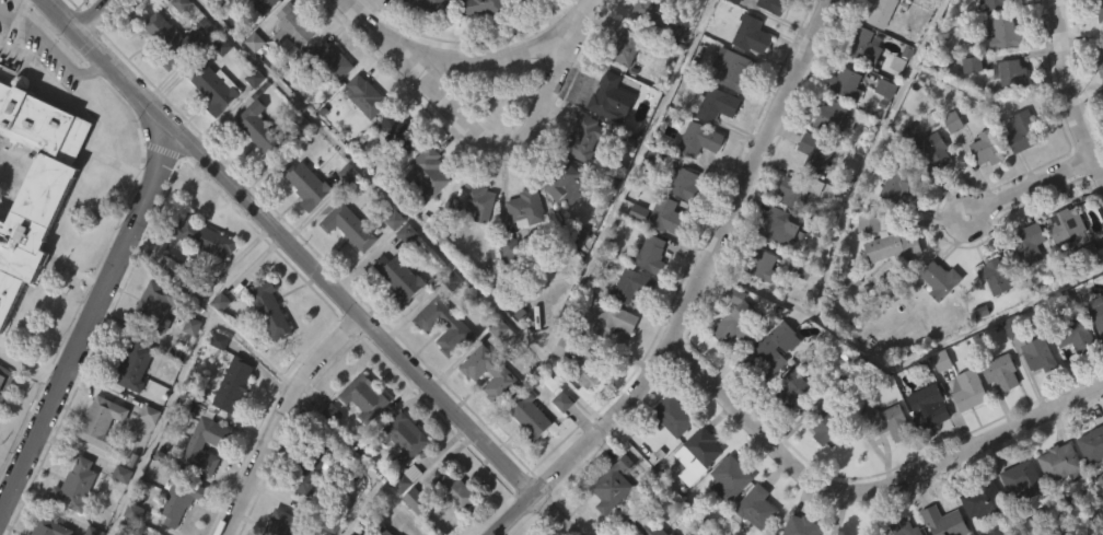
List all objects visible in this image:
building: (982, 1)
building: (999, 3)
building: (201, 4)
building: (262, 5)
building: (430, 5)
building: (773, 5)
building: (382, 7)
building: (483, 7)
building: (1098, 8)
building: (880, 12)
building: (894, 12)
road: (9, 15)
building: (515, 15)
road: (94, 16)
building: (660, 16)
building: (252, 25)
building: (293, 25)
building: (728, 30)
building: (425, 31)
road: (12, 34)
building: (478, 34)
building: (768, 34)
building: (1007, 34)
building: (752, 35)
road: (385, 36)
building: (1094, 38)
building: (169, 39)
building: (647, 44)
building: (866, 45)
building: (628, 46)
building: (217, 49)
road: (51, 50)
road: (522, 50)
building: (328, 61)
building: (288, 65)
building: (1101, 67)
building: (733, 70)
building: (1012, 74)
building: (163, 75)
building: (846, 84)
building: (620, 85)
building: (214, 89)
road: (1071, 94)
building: (326, 95)
building: (607, 95)
building: (365, 96)
building: (1098, 96)
building: (966, 100)
building: (717, 105)
building: (1008, 111)
building: (831, 117)
building: (208, 124)
building: (881, 124)
building: (1101, 128)
building: (257, 129)
building: (399, 131)
building: (1024, 132)
building: (591, 138)
building: (700, 139)
road: (515, 147)
building: (987, 150)
building: (934, 152)
building: (816, 153)
road: (871, 155)
building: (257, 165)
building: (394, 168)
building: (1018, 168)
building: (427, 173)
road: (370, 175)
building: (581, 175)
building: (34, 183)
building: (564, 183)
building: (684, 184)
building: (982, 184)
building: (306, 185)
building: (902, 185)
road: (1029, 186)
building: (930, 187)
building: (802, 189)
building: (478, 202)
building: (526, 208)
building: (421, 209)
building: (666, 214)
road: (608, 219)
building: (301, 220)
building: (560, 220)
building: (681, 220)
building: (893, 222)
building: (1069, 225)
building: (349, 226)
building: (780, 226)
building: (204, 235)
building: (472, 237)
building: (892, 240)
building: (1030, 242)
building: (521, 244)
building: (635, 248)
building: (653, 255)
building: (390, 256)
building: (345, 263)
building: (1061, 263)
building: (762, 264)
road: (313, 266)
building: (200, 272)
building: (998, 274)
building: (399, 278)
building: (884, 278)
building: (941, 279)
building: (1026, 279)
building: (504, 286)
building: (632, 286)
road: (692, 290)
building: (758, 301)
building: (156, 303)
building: (797, 305)
building: (269, 306)
road: (213, 312)
building: (990, 312)
building: (395, 313)
building: (934, 315)
building: (1099, 316)
building: (614, 319)
road: (90, 324)
building: (455, 324)
building: (736, 324)
building: (1076, 333)
building: (216, 337)
building: (152, 340)
building: (265, 345)
building: (771, 352)
building: (1038, 352)
building: (1095, 354)
building: (608, 357)
building: (730, 357)
building: (451, 360)
building: (187, 361)
building: (580, 361)
road: (901, 362)
building: (132, 363)
building: (1001, 371)
building: (1069, 372)
building: (214, 375)
building: (503, 375)
building: (1, 379)
building: (7, 381)
building: (559, 383)
building: (233, 384)
building: (767, 387)
building: (791, 387)
building: (968, 389)
building: (1034, 391)
building: (365, 396)
building: (130, 399)
building: (581, 406)
building: (927, 406)
building: (675, 409)
building: (996, 409)
building: (496, 410)
building: (531, 415)
road: (280, 417)
building: (229, 420)
building: (101, 421)
building: (891, 421)
building: (827, 424)
building: (963, 424)
building: (785, 430)
building: (360, 433)
building: (405, 437)
building: (558, 437)
building: (922, 442)
building: (1092, 444)
building: (195, 445)
building: (146, 450)
building: (328, 450)
building: (669, 451)
building: (525, 452)
building: (697, 455)
building: (96, 456)
building: (884, 458)
building: (1059, 462)
building: (818, 463)
building: (314, 467)
building: (404, 477)
building: (731, 478)
building: (1023, 479)
building: (190, 480)
building: (1089, 480)
building: (76, 485)
building: (614, 485)
building: (456, 489)
building: (692, 489)
road: (866, 489)
building: (1054, 498)
building: (178, 499)
building: (416, 499)
building: (980, 500)
building: (309, 503)
building: (757, 507)
building: (117, 509)
building: (725, 513)
building: (1018, 514)
building: (72, 515)
building: (396, 516)
building: (609, 517)
building: (945, 521)
building: (449, 522)
building: (283, 523)
building: (179, 525)
building: (645, 525)
building: (802, 526)
building: (48, 527)
building: (906, 527)
building: (978, 527)
building: (752, 528)
building: (408, 530)
building: (385, 532)
building: (148, 534)
building: (672, 534)

